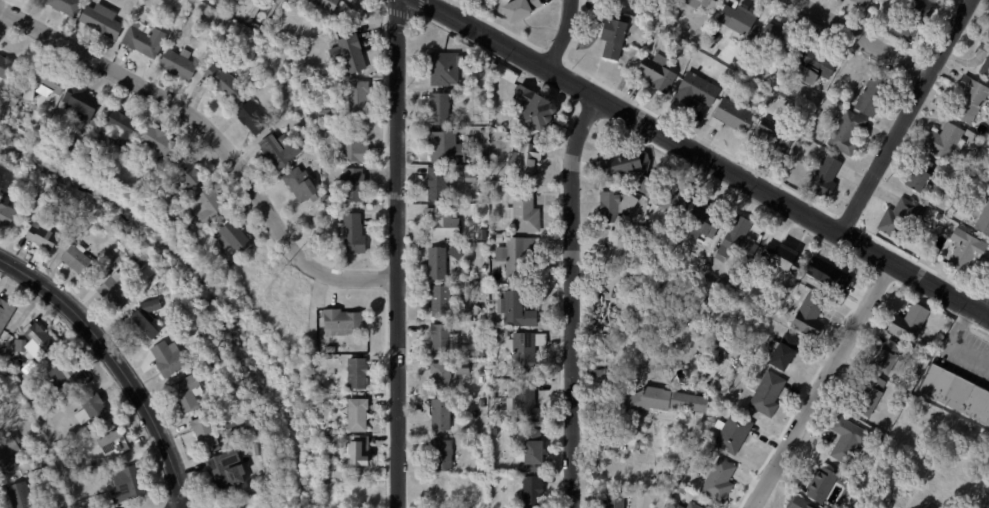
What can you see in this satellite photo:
building: (659, 0)
building: (937, 0)
building: (930, 1)
building: (706, 3)
building: (859, 3)
building: (327, 5)
building: (68, 6)
building: (522, 9)
building: (201, 16)
building: (103, 20)
building: (906, 20)
building: (736, 22)
building: (988, 23)
building: (988, 30)
building: (645, 31)
building: (612, 33)
road: (564, 35)
road: (863, 35)
building: (773, 38)
building: (144, 43)
building: (274, 54)
building: (351, 55)
building: (985, 64)
building: (179, 65)
building: (812, 66)
building: (448, 67)
building: (5, 68)
building: (655, 73)
building: (227, 82)
building: (480, 83)
building: (468, 84)
building: (47, 85)
building: (721, 85)
building: (691, 92)
building: (871, 94)
building: (361, 98)
building: (968, 100)
building: (15, 103)
building: (82, 104)
building: (441, 107)
building: (539, 107)
building: (730, 116)
road: (904, 116)
building: (254, 119)
building: (123, 126)
building: (844, 133)
road: (214, 137)
building: (52, 138)
building: (774, 141)
building: (161, 142)
building: (943, 142)
building: (304, 144)
building: (496, 144)
building: (441, 146)
building: (807, 146)
building: (357, 149)
building: (281, 150)
building: (312, 154)
building: (529, 158)
road: (706, 158)
building: (622, 164)
building: (157, 165)
building: (190, 173)
building: (473, 177)
power tower: (485, 177)
building: (823, 177)
building: (916, 178)
building: (651, 180)
building: (439, 184)
building: (303, 186)
building: (354, 186)
building: (508, 187)
building: (329, 200)
building: (676, 200)
building: (21, 201)
building: (37, 201)
building: (618, 205)
building: (211, 206)
building: (7, 211)
building: (526, 212)
building: (937, 217)
building: (899, 219)
building: (445, 221)
building: (982, 221)
building: (706, 224)
building: (45, 234)
building: (354, 235)
building: (501, 237)
building: (235, 238)
building: (740, 240)
building: (118, 242)
building: (619, 247)
building: (962, 251)
road: (396, 253)
building: (456, 253)
building: (519, 255)
building: (786, 256)
building: (82, 260)
building: (439, 262)
building: (141, 263)
building: (486, 268)
building: (160, 277)
building: (830, 279)
building: (118, 291)
road: (569, 298)
building: (442, 299)
building: (518, 309)
building: (6, 314)
road: (988, 315)
building: (811, 316)
building: (147, 321)
building: (345, 322)
building: (914, 325)
building: (498, 332)
building: (510, 333)
building: (443, 339)
building: (202, 340)
building: (40, 341)
road: (955, 343)
building: (21, 345)
building: (333, 349)
building: (528, 350)
building: (783, 351)
building: (171, 357)
building: (890, 357)
building: (215, 362)
building: (748, 362)
road: (117, 363)
building: (464, 367)
building: (359, 373)
building: (67, 375)
building: (599, 375)
building: (443, 378)
building: (19, 382)
road: (820, 385)
building: (189, 393)
building: (770, 393)
building: (957, 393)
building: (27, 394)
building: (872, 396)
building: (660, 402)
building: (483, 403)
building: (530, 405)
building: (495, 407)
building: (95, 411)
power tower: (487, 412)
building: (443, 414)
building: (359, 415)
building: (31, 418)
building: (736, 433)
building: (208, 434)
building: (328, 440)
building: (850, 440)
building: (114, 444)
building: (534, 447)
building: (261, 449)
building: (361, 451)
building: (9, 454)
building: (445, 454)
building: (48, 457)
building: (328, 467)
building: (482, 467)
building: (866, 468)
building: (229, 470)
building: (722, 481)
building: (129, 484)
building: (825, 484)
building: (537, 490)
building: (27, 497)
building: (618, 501)
building: (802, 503)
building: (696, 505)
building: (682, 506)
building: (988, 507)

